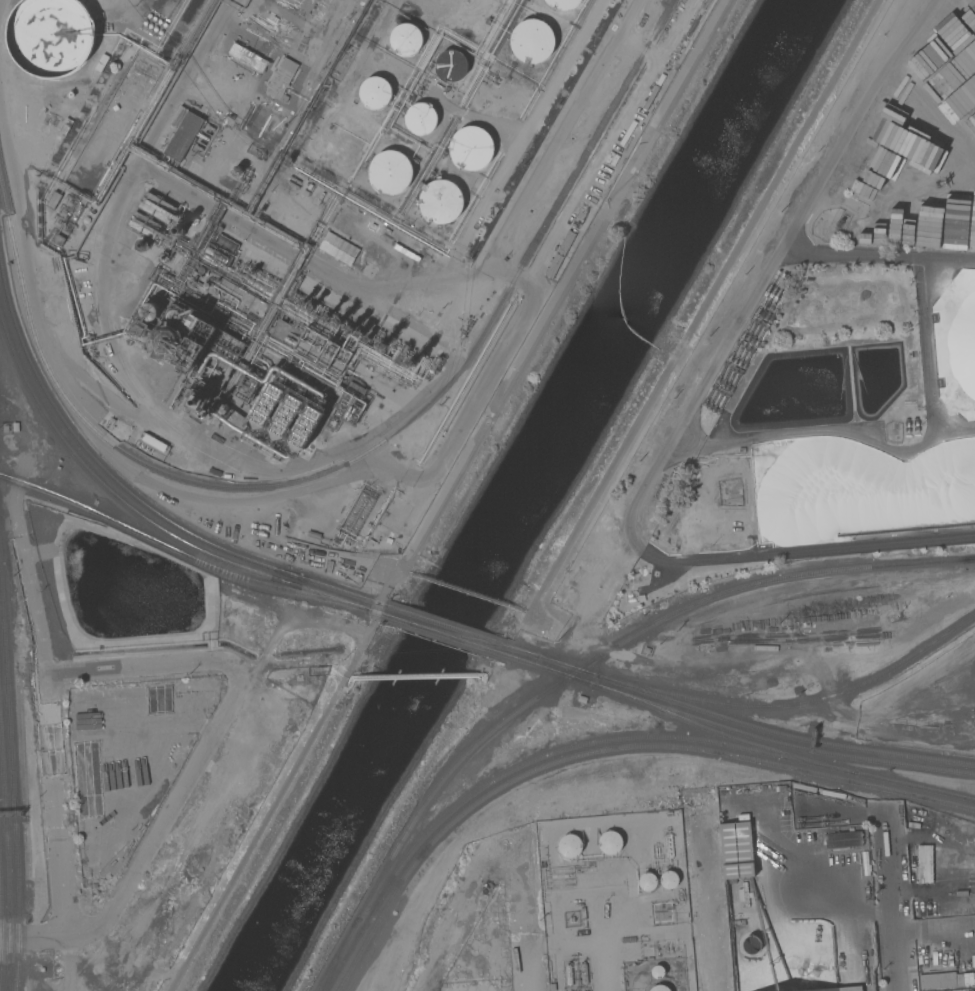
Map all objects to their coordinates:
building: (562, 3)
railway: (671, 3)
railway: (672, 3)
building: (49, 37)
building: (405, 39)
building: (532, 39)
building: (102, 63)
building: (451, 64)
building: (281, 79)
building: (374, 92)
building: (70, 95)
building: (420, 118)
building: (65, 126)
building: (182, 132)
building: (99, 146)
building: (471, 147)
building: (237, 170)
building: (389, 172)
building: (305, 193)
building: (53, 200)
building: (440, 201)
building: (157, 207)
building: (86, 220)
building: (144, 224)
building: (179, 230)
building: (57, 239)
building: (566, 242)
building: (225, 244)
building: (142, 245)
building: (341, 250)
building: (217, 254)
road: (878, 256)
building: (163, 257)
road: (771, 263)
building: (554, 265)
building: (200, 270)
building: (227, 295)
road: (560, 300)
building: (304, 302)
building: (311, 306)
road: (706, 308)
building: (150, 311)
building: (326, 315)
building: (177, 317)
building: (196, 321)
building: (338, 322)
building: (140, 329)
building: (350, 329)
building: (359, 335)
building: (366, 338)
building: (169, 341)
building: (382, 345)
building: (312, 346)
building: (412, 363)
building: (434, 364)
road: (927, 364)
building: (355, 389)
building: (198, 402)
building: (268, 404)
building: (348, 407)
building: (286, 415)
building: (306, 426)
building: (15, 427)
road: (823, 429)
road: (688, 440)
building: (154, 442)
railway: (355, 460)
railway: (130, 493)
railway: (136, 512)
building: (313, 534)
road: (817, 549)
road: (642, 550)
railway: (178, 551)
railway: (372, 611)
railway: (449, 627)
railway: (446, 635)
railway: (463, 636)
railway: (612, 648)
building: (645, 650)
railway: (525, 652)
road: (142, 667)
building: (298, 678)
road: (912, 679)
building: (582, 699)
railway: (795, 704)
railway: (740, 723)
road: (912, 730)
railway: (718, 731)
railway: (738, 732)
railway: (606, 750)
railway: (534, 760)
railway: (14, 772)
railway: (909, 785)
road: (275, 802)
road: (59, 805)
road: (167, 812)
building: (843, 839)
building: (609, 843)
building: (569, 845)
railway: (9, 846)
building: (737, 849)
building: (924, 863)
building: (669, 880)
building: (647, 881)
road: (711, 898)
building: (930, 906)
road: (894, 908)
road: (470, 911)
road: (524, 911)
railway: (1, 916)
road: (925, 930)
road: (35, 938)
railway: (337, 955)
railway: (340, 955)
building: (583, 968)
building: (568, 970)
building: (657, 971)
building: (584, 978)
building: (568, 979)
building: (940, 980)
building: (659, 988)
building: (840, 989)

